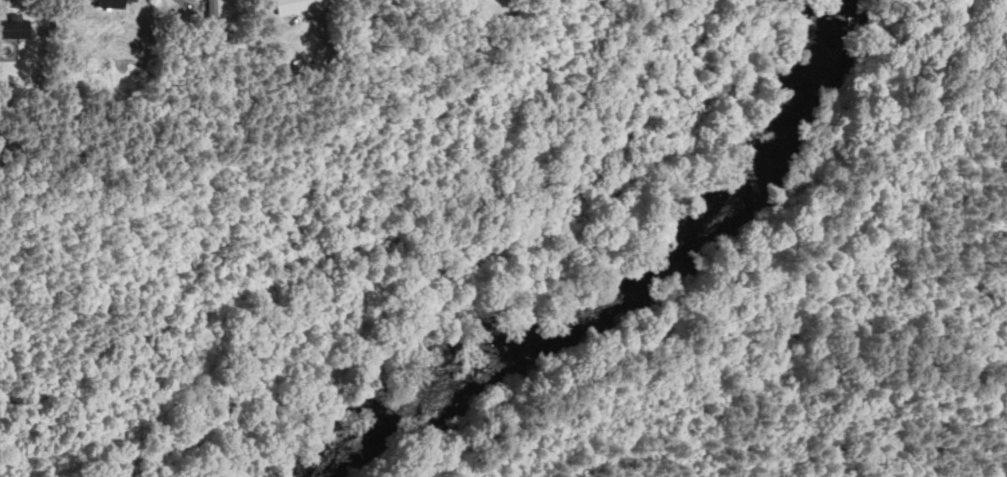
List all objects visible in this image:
building: (113, 3)
building: (297, 5)
building: (212, 10)
building: (15, 27)
road: (159, 93)
river: (803, 159)
river: (506, 373)

